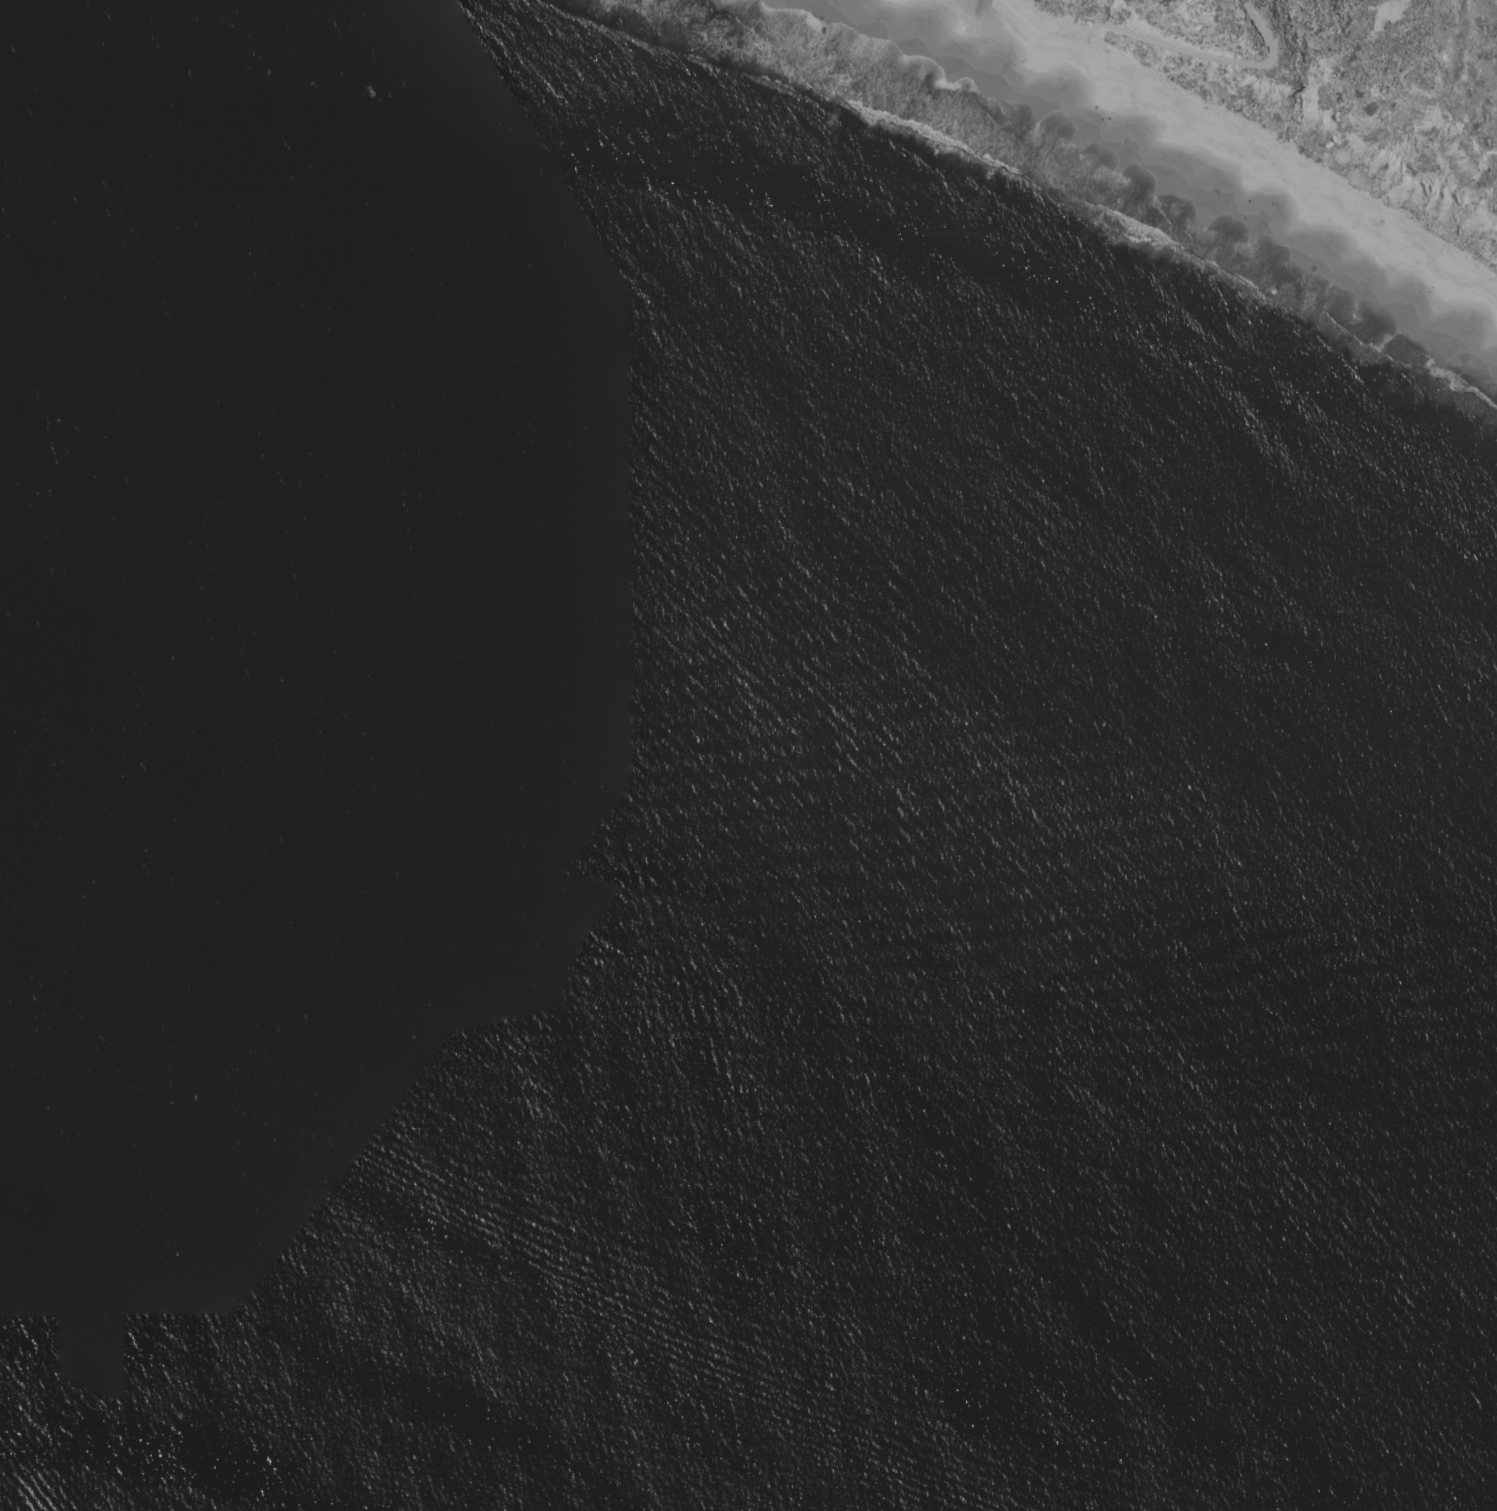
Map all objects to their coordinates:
road: (1209, 59)

